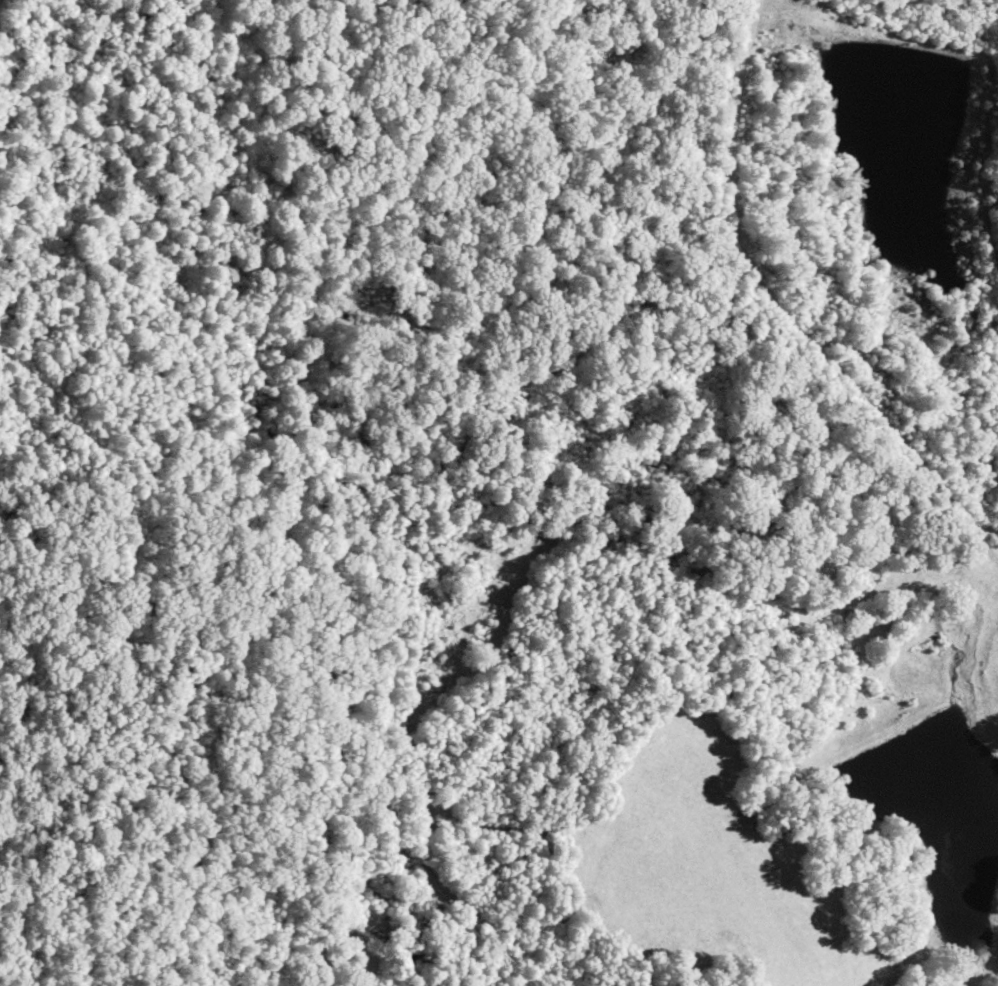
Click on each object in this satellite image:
road: (782, 326)

